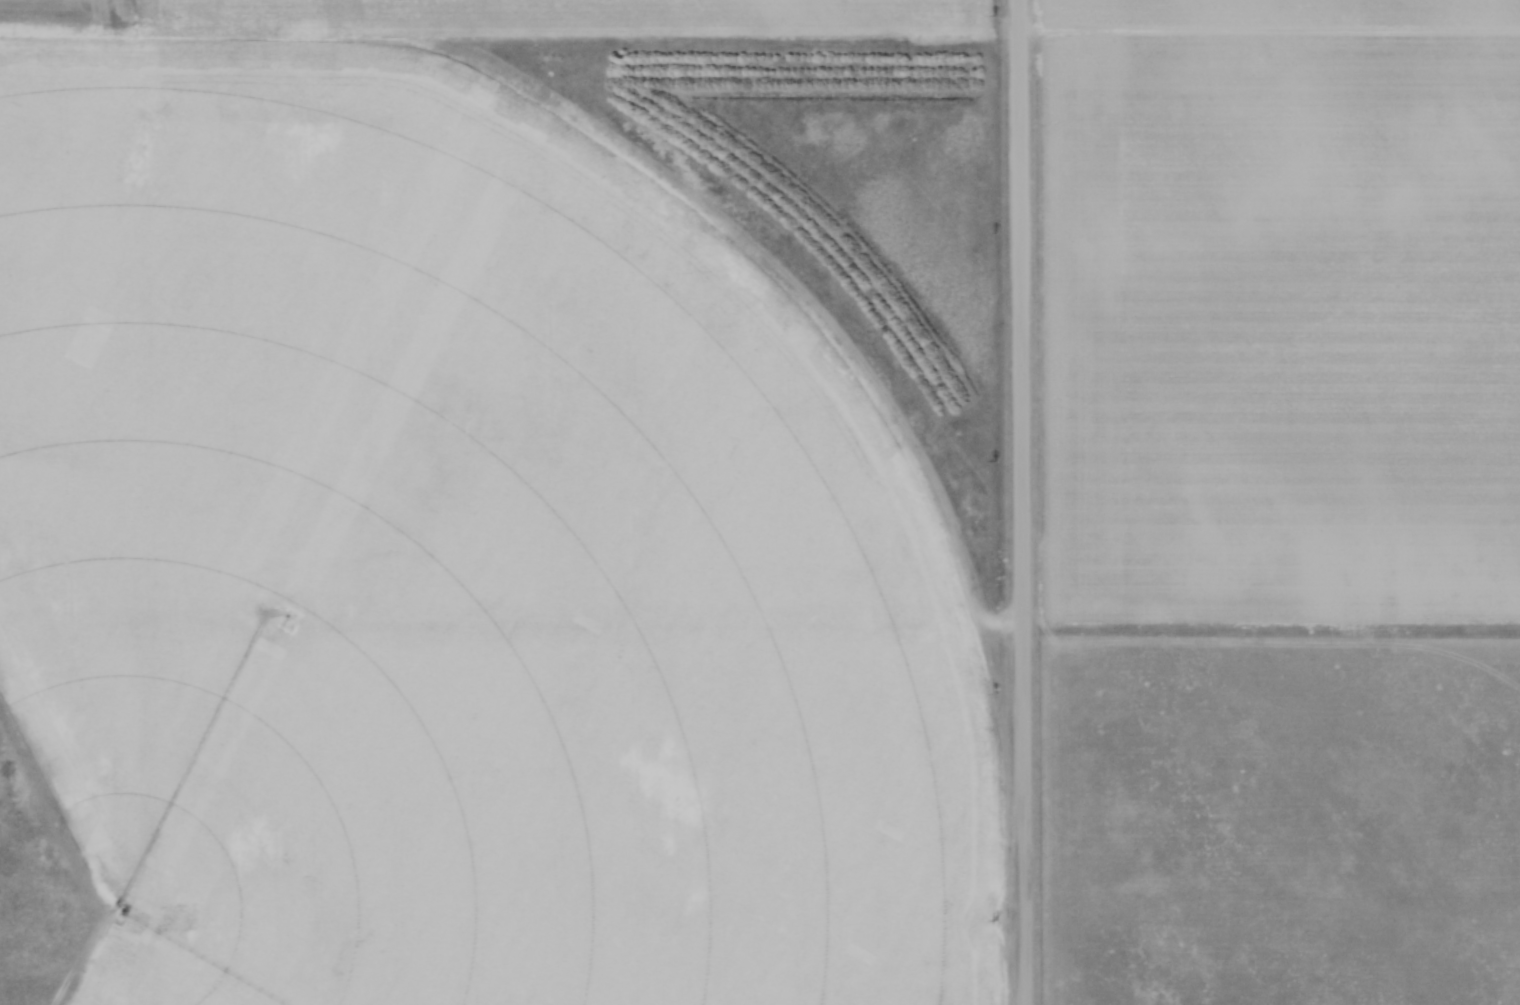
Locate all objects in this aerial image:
road: (1020, 502)

